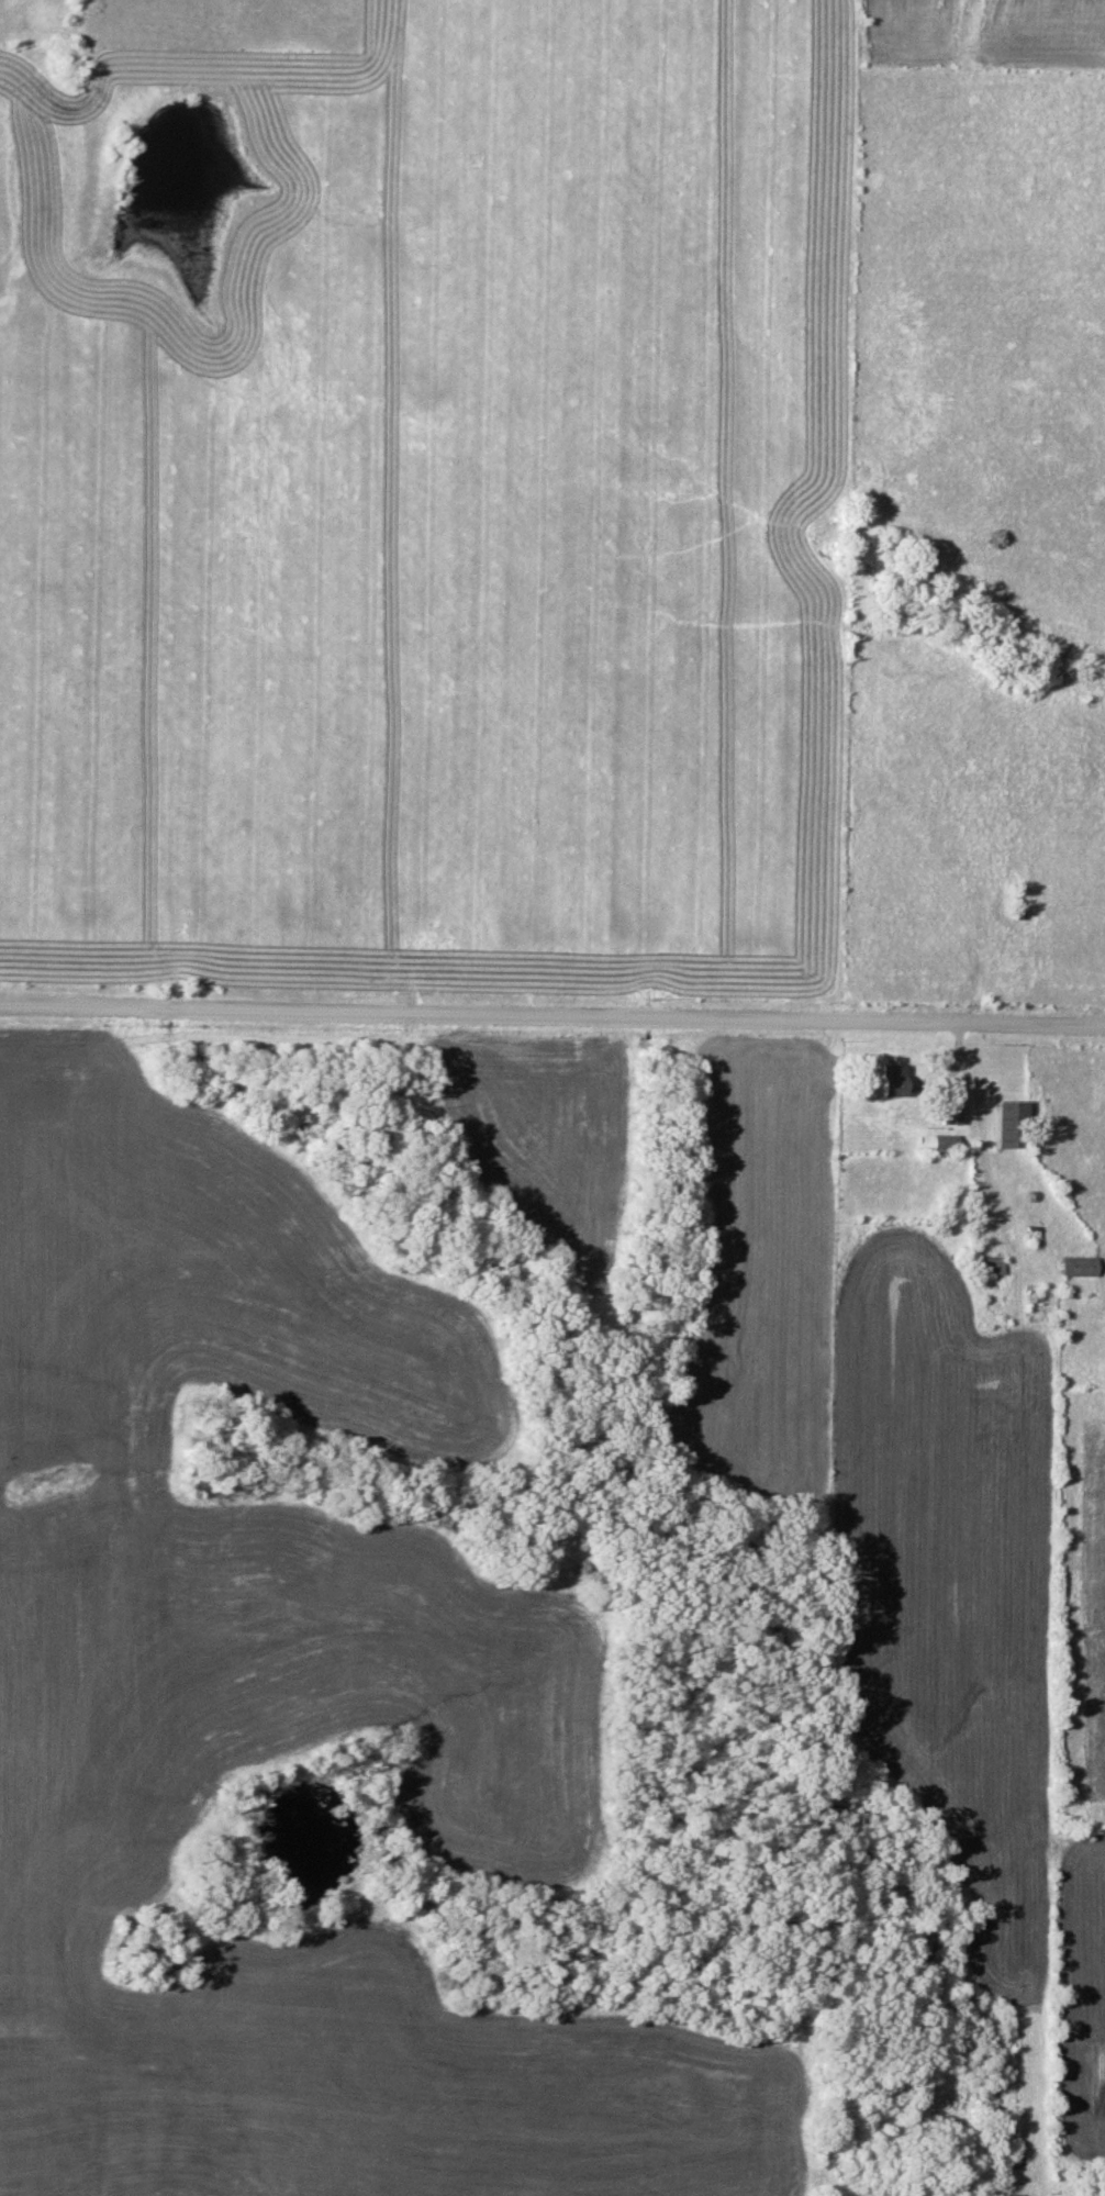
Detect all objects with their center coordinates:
road: (552, 1018)
building: (891, 1080)
building: (949, 1112)
building: (1011, 1124)
building: (945, 1144)
building: (990, 1266)
building: (1079, 1267)
park: (152, 1947)

